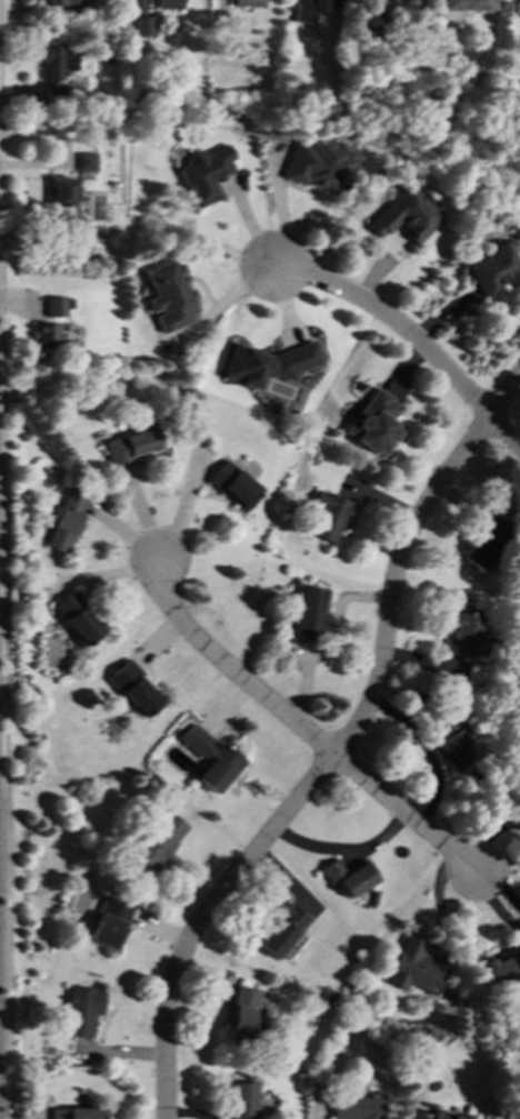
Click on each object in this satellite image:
building: (60, 2)
building: (247, 2)
building: (168, 3)
building: (468, 6)
building: (310, 8)
building: (144, 26)
building: (57, 60)
road: (0, 144)
building: (86, 161)
building: (317, 166)
building: (204, 173)
building: (62, 191)
building: (406, 214)
building: (494, 272)
building: (170, 296)
building: (54, 307)
road: (393, 320)
building: (47, 337)
building: (263, 363)
building: (372, 422)
road: (504, 433)
building: (131, 446)
building: (232, 486)
building: (324, 517)
building: (67, 520)
building: (487, 542)
road: (3, 579)
building: (307, 613)
building: (76, 618)
building: (462, 633)
road: (328, 640)
road: (229, 668)
building: (134, 689)
building: (451, 741)
road: (338, 749)
road: (428, 752)
building: (210, 758)
road: (404, 813)
building: (159, 840)
road: (343, 849)
building: (348, 877)
road: (501, 886)
building: (108, 922)
building: (281, 931)
building: (502, 968)
building: (417, 970)
building: (80, 1009)
building: (244, 1013)
building: (240, 1100)
building: (357, 1105)
building: (74, 1113)
building: (444, 1115)
building: (519, 1118)

